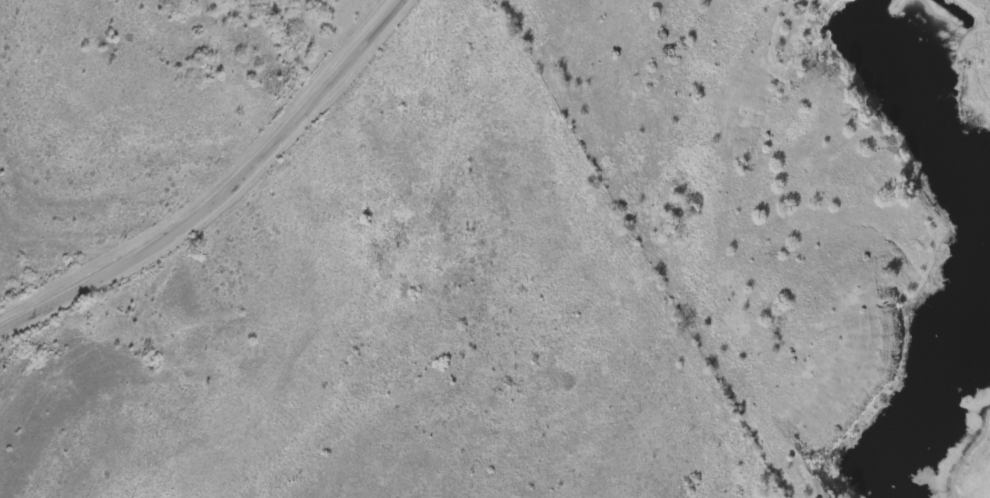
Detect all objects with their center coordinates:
road: (221, 192)

